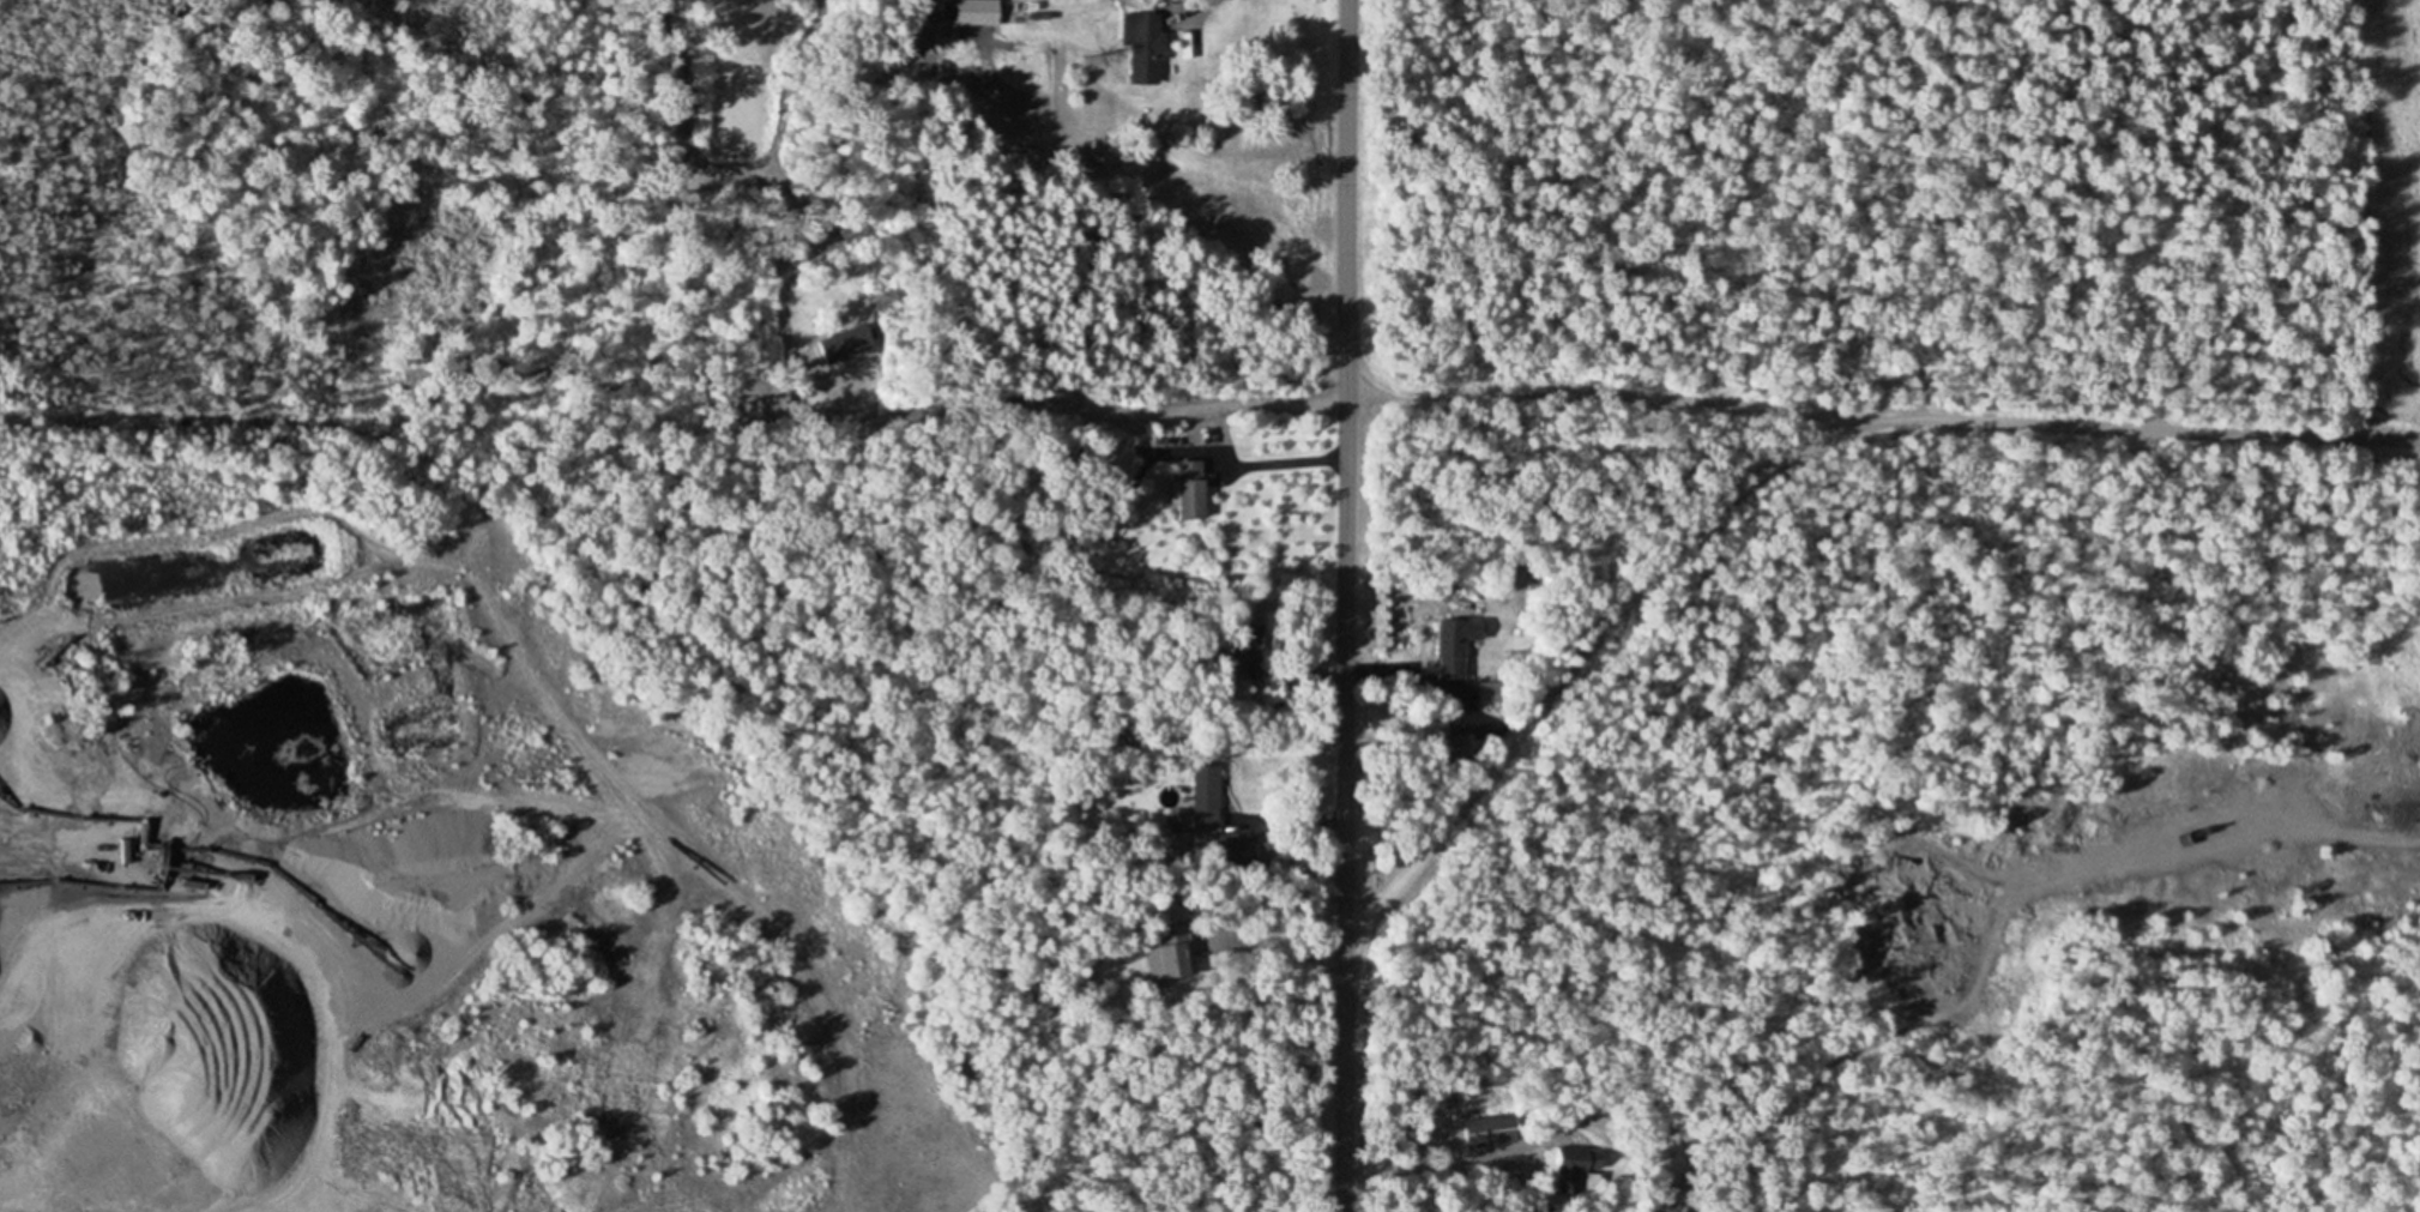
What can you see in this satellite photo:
building: (1143, 38)
road: (1871, 420)
building: (1187, 489)
road: (1344, 605)
building: (1454, 647)
road: (1581, 661)
building: (1489, 693)
quarry: (476, 744)
building: (1450, 748)
building: (1205, 809)
road: (2267, 834)
building: (1170, 952)
road: (274, 976)
building: (1490, 1130)
building: (1576, 1160)

